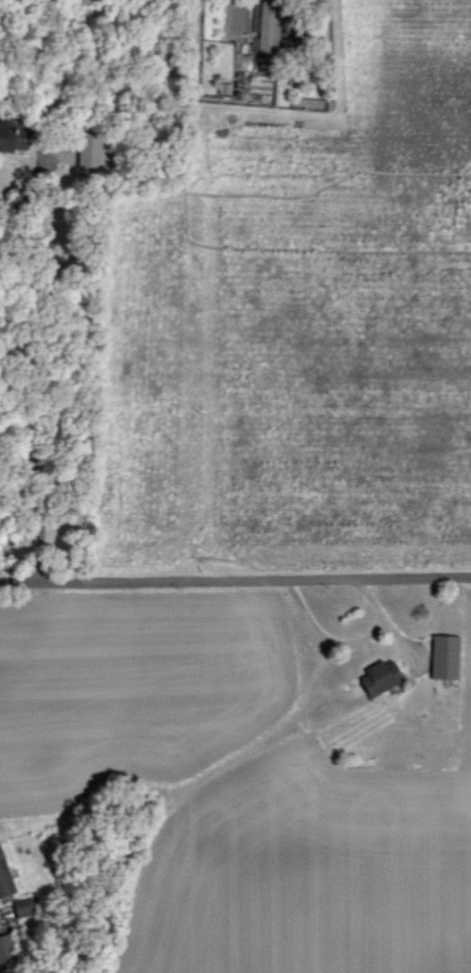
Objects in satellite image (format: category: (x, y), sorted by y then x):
building: (268, 26)
building: (13, 135)
building: (89, 148)
road: (235, 576)
building: (445, 656)
building: (381, 676)
building: (5, 874)
building: (24, 906)
building: (6, 947)

